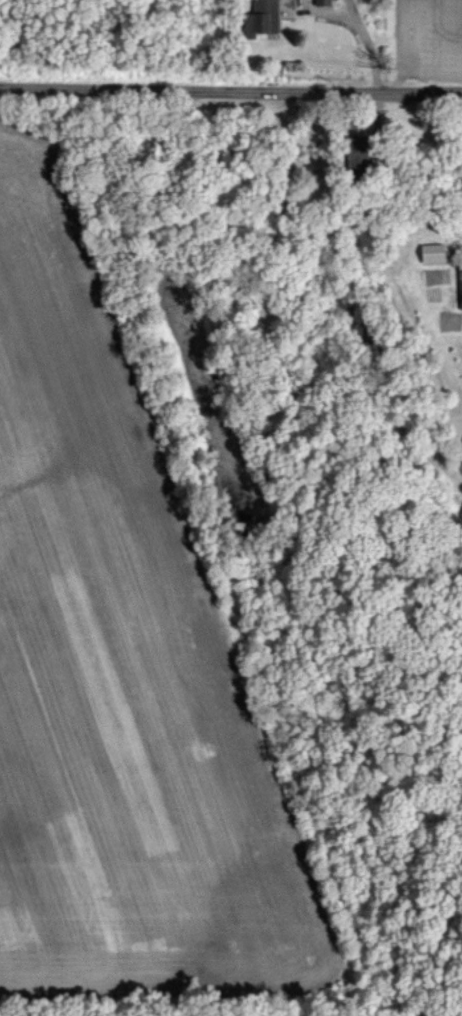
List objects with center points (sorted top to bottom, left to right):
building: (322, 3)
building: (260, 19)
road: (363, 43)
road: (230, 89)
building: (431, 252)
building: (459, 283)

